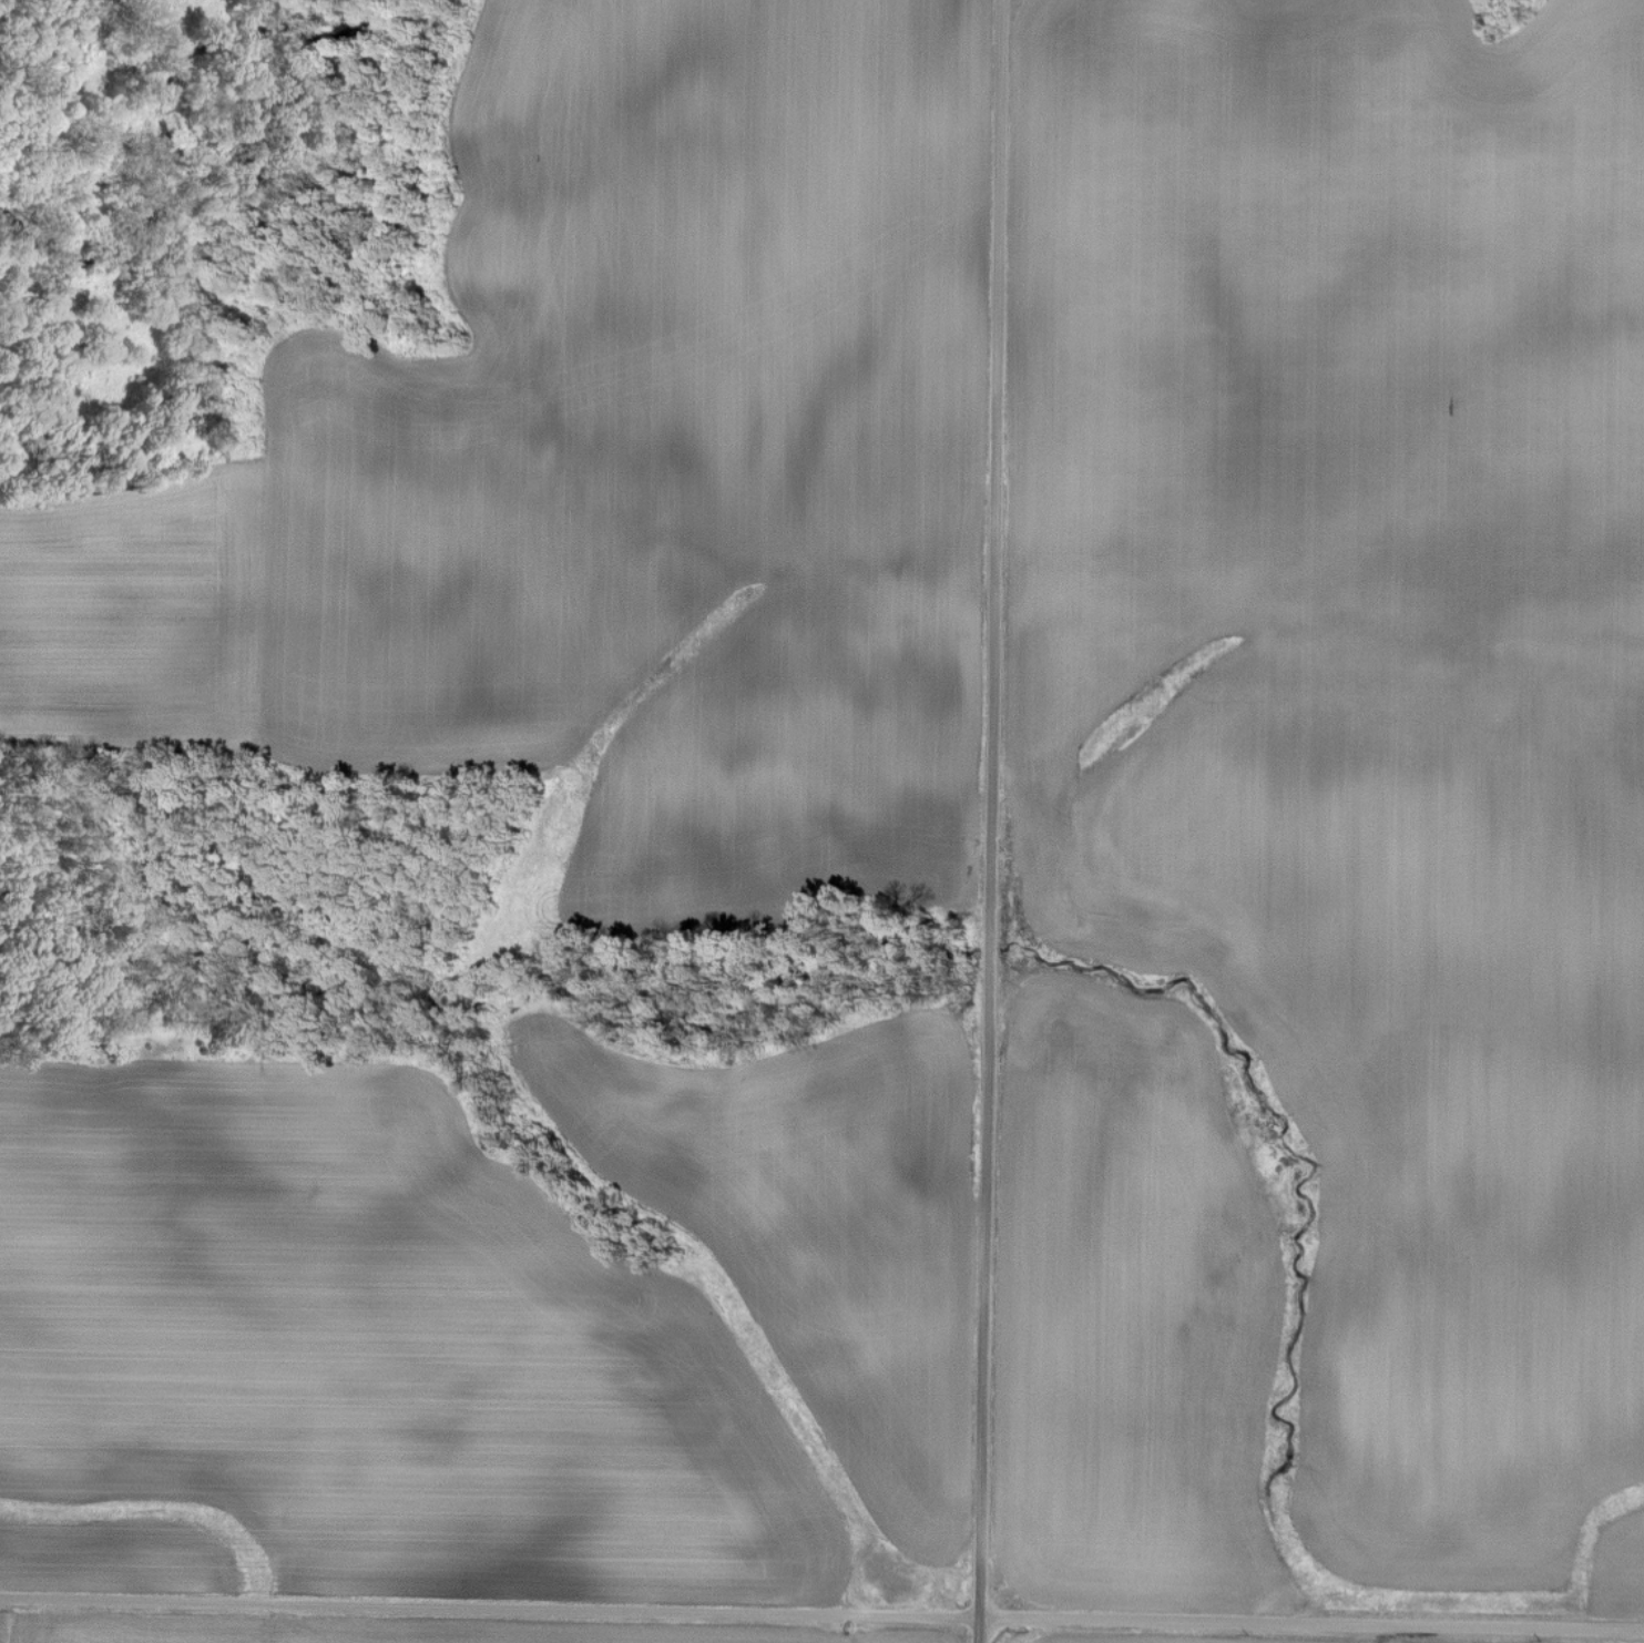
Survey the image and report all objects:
road: (994, 822)
road: (821, 1615)

